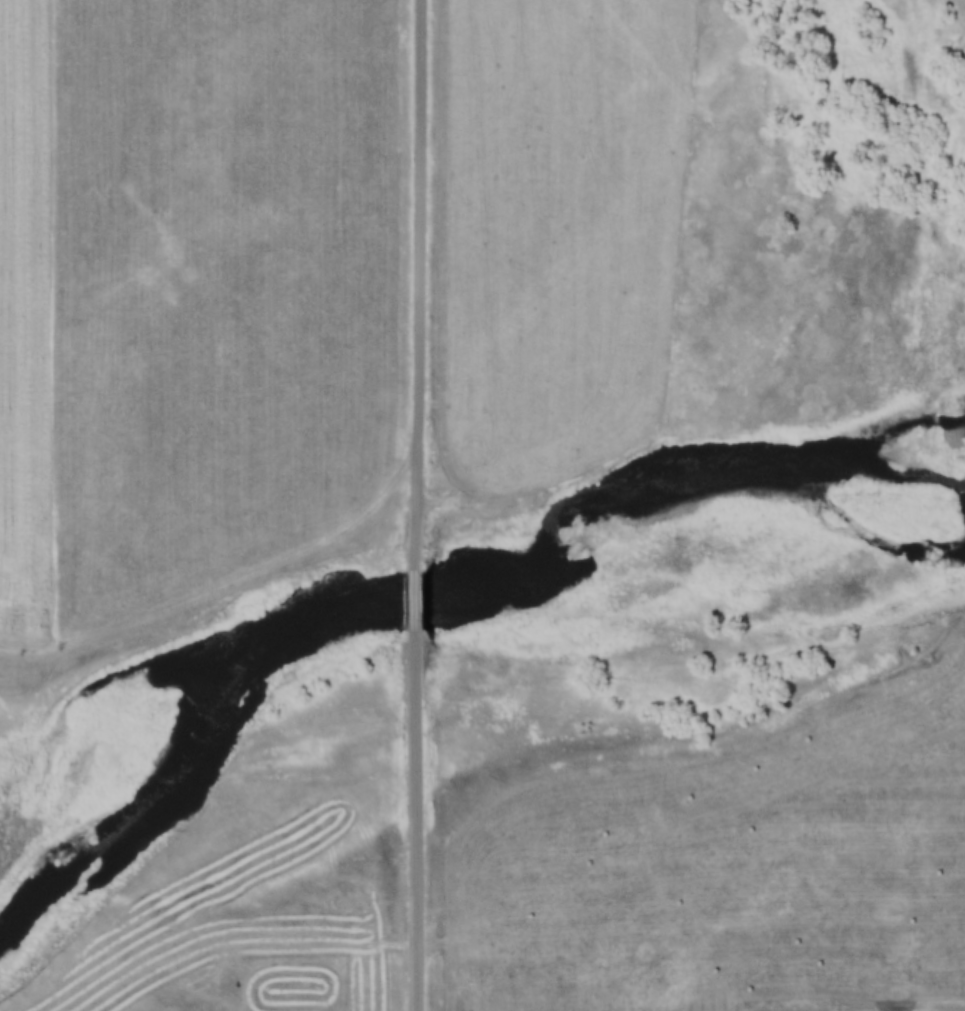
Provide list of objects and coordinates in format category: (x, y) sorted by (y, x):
road: (427, 281)
river: (428, 590)
road: (236, 594)
road: (426, 594)
road: (423, 817)
building: (259, 996)

